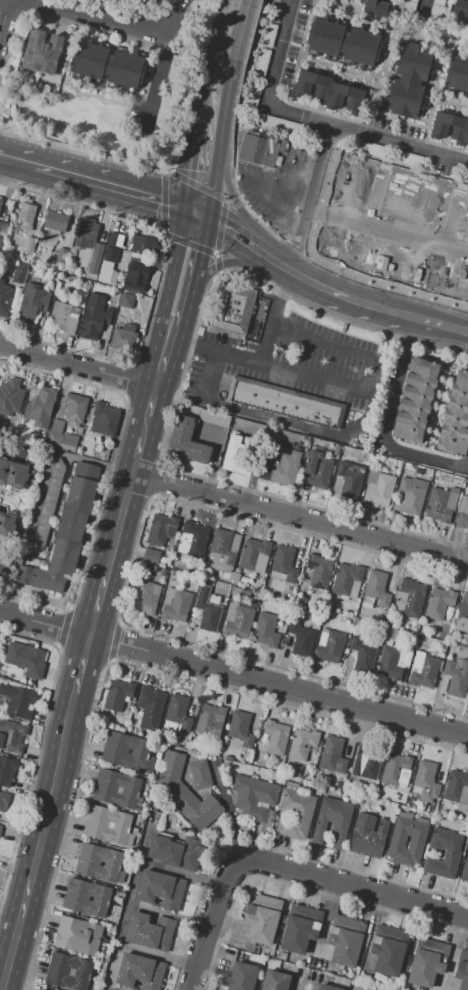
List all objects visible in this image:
building: (146, 0)
road: (73, 5)
road: (352, 5)
building: (381, 5)
building: (409, 5)
road: (424, 8)
building: (436, 9)
building: (460, 9)
road: (3, 12)
road: (117, 23)
road: (419, 26)
road: (393, 28)
building: (268, 34)
road: (220, 37)
road: (237, 38)
building: (343, 41)
building: (45, 52)
road: (69, 57)
building: (90, 60)
building: (261, 61)
road: (328, 66)
building: (126, 69)
building: (458, 73)
building: (410, 80)
road: (378, 85)
road: (191, 86)
road: (156, 88)
building: (328, 91)
road: (86, 94)
road: (236, 94)
building: (467, 95)
road: (434, 96)
road: (451, 99)
road: (210, 100)
road: (218, 101)
road: (315, 120)
building: (450, 127)
building: (369, 148)
building: (261, 149)
road: (6, 158)
building: (407, 158)
road: (24, 163)
road: (201, 170)
road: (194, 183)
road: (283, 187)
road: (116, 188)
road: (231, 191)
road: (230, 196)
road: (310, 198)
road: (382, 201)
building: (1, 202)
traffic signals: (195, 216)
building: (25, 217)
building: (56, 221)
road: (458, 221)
building: (2, 228)
road: (163, 230)
road: (230, 231)
road: (387, 231)
building: (86, 233)
road: (219, 233)
building: (115, 238)
building: (0, 239)
building: (145, 244)
building: (30, 245)
road: (186, 254)
building: (62, 255)
building: (96, 258)
road: (218, 266)
building: (109, 267)
building: (54, 268)
road: (340, 269)
road: (217, 270)
building: (20, 271)
building: (53, 273)
building: (136, 277)
road: (304, 278)
road: (157, 281)
road: (280, 283)
building: (17, 294)
building: (5, 297)
building: (127, 301)
building: (33, 302)
building: (14, 306)
road: (380, 308)
building: (230, 309)
building: (63, 318)
building: (43, 320)
building: (95, 320)
road: (440, 323)
road: (268, 330)
building: (106, 332)
road: (1, 333)
road: (387, 335)
building: (124, 338)
road: (164, 340)
road: (191, 343)
road: (324, 343)
road: (75, 364)
road: (293, 370)
road: (209, 375)
road: (375, 375)
road: (127, 380)
road: (176, 389)
building: (10, 397)
building: (415, 400)
road: (147, 401)
building: (284, 403)
road: (438, 406)
building: (41, 407)
building: (75, 409)
building: (213, 417)
building: (105, 418)
building: (456, 418)
road: (279, 419)
road: (384, 422)
building: (2, 426)
building: (57, 426)
road: (141, 426)
building: (36, 437)
building: (189, 440)
building: (63, 441)
building: (337, 450)
road: (133, 456)
building: (236, 456)
road: (47, 459)
building: (282, 469)
building: (317, 470)
building: (13, 473)
road: (107, 473)
building: (350, 478)
road: (157, 479)
building: (378, 488)
building: (454, 489)
building: (413, 494)
building: (49, 504)
building: (438, 505)
road: (298, 518)
building: (462, 519)
building: (6, 520)
road: (117, 522)
building: (161, 529)
building: (66, 534)
building: (196, 538)
building: (221, 550)
building: (255, 555)
building: (151, 556)
building: (4, 562)
building: (173, 563)
building: (285, 563)
building: (164, 571)
building: (319, 571)
road: (126, 574)
building: (217, 574)
building: (226, 574)
building: (346, 578)
building: (235, 579)
building: (246, 581)
building: (378, 587)
building: (234, 592)
building: (409, 597)
building: (143, 598)
road: (7, 599)
road: (96, 602)
building: (439, 603)
building: (176, 605)
building: (208, 609)
building: (463, 614)
building: (385, 617)
building: (238, 620)
road: (44, 623)
road: (63, 626)
building: (266, 630)
building: (390, 633)
building: (410, 635)
building: (301, 638)
road: (115, 641)
building: (330, 645)
building: (363, 655)
building: (26, 659)
road: (123, 659)
building: (390, 663)
road: (81, 664)
building: (424, 670)
building: (456, 678)
road: (277, 686)
building: (118, 694)
building: (17, 700)
building: (151, 707)
building: (179, 711)
building: (210, 720)
building: (241, 729)
building: (12, 735)
building: (276, 737)
road: (39, 743)
building: (126, 743)
building: (302, 743)
building: (334, 753)
building: (124, 759)
building: (366, 763)
building: (397, 770)
building: (6, 771)
building: (295, 771)
building: (200, 774)
building: (427, 781)
building: (116, 782)
building: (339, 785)
building: (457, 789)
building: (185, 793)
building: (254, 797)
building: (115, 798)
building: (4, 801)
building: (295, 810)
building: (439, 812)
building: (108, 818)
building: (332, 820)
building: (1, 829)
building: (107, 834)
building: (369, 836)
road: (37, 841)
building: (397, 842)
building: (176, 851)
road: (275, 851)
building: (444, 853)
building: (100, 855)
building: (465, 869)
building: (100, 871)
road: (183, 872)
road: (297, 885)
road: (351, 885)
building: (89, 890)
building: (161, 890)
building: (85, 906)
building: (259, 919)
road: (207, 926)
building: (79, 928)
building: (301, 929)
building: (149, 931)
building: (344, 941)
building: (75, 944)
building: (387, 950)
building: (428, 963)
building: (69, 964)
building: (139, 971)
building: (461, 972)
building: (240, 977)
building: (66, 979)
building: (275, 981)
building: (326, 987)
building: (42, 989)

